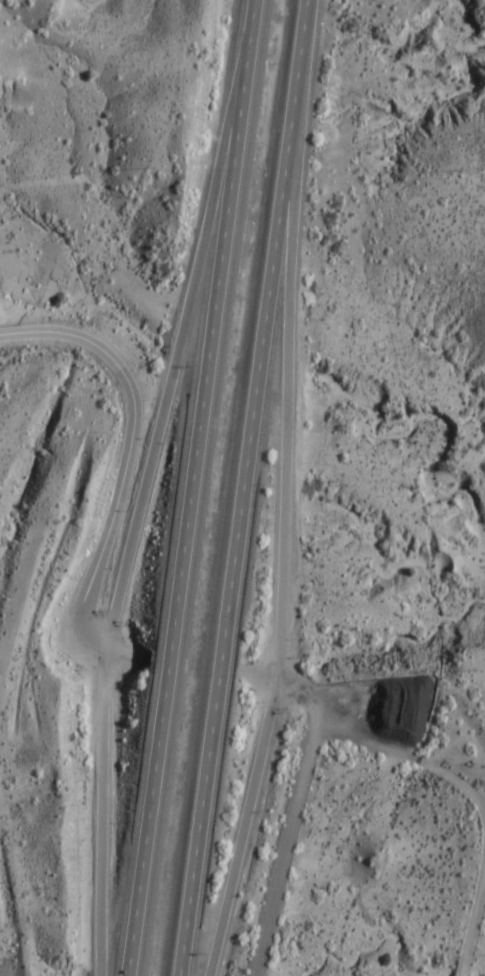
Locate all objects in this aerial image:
road: (72, 178)
parking lot: (16, 314)
road: (18, 317)
road: (287, 366)
road: (128, 456)
road: (190, 487)
road: (242, 487)
road: (142, 498)
road: (126, 656)
road: (290, 682)
parking lot: (379, 709)
road: (406, 755)
road: (244, 825)
road: (283, 851)
road: (478, 943)

